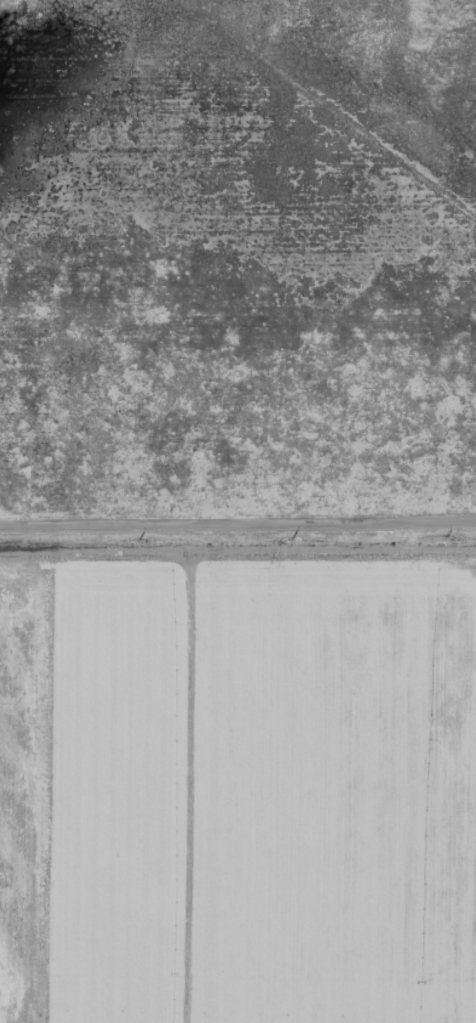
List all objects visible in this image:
road: (238, 525)

